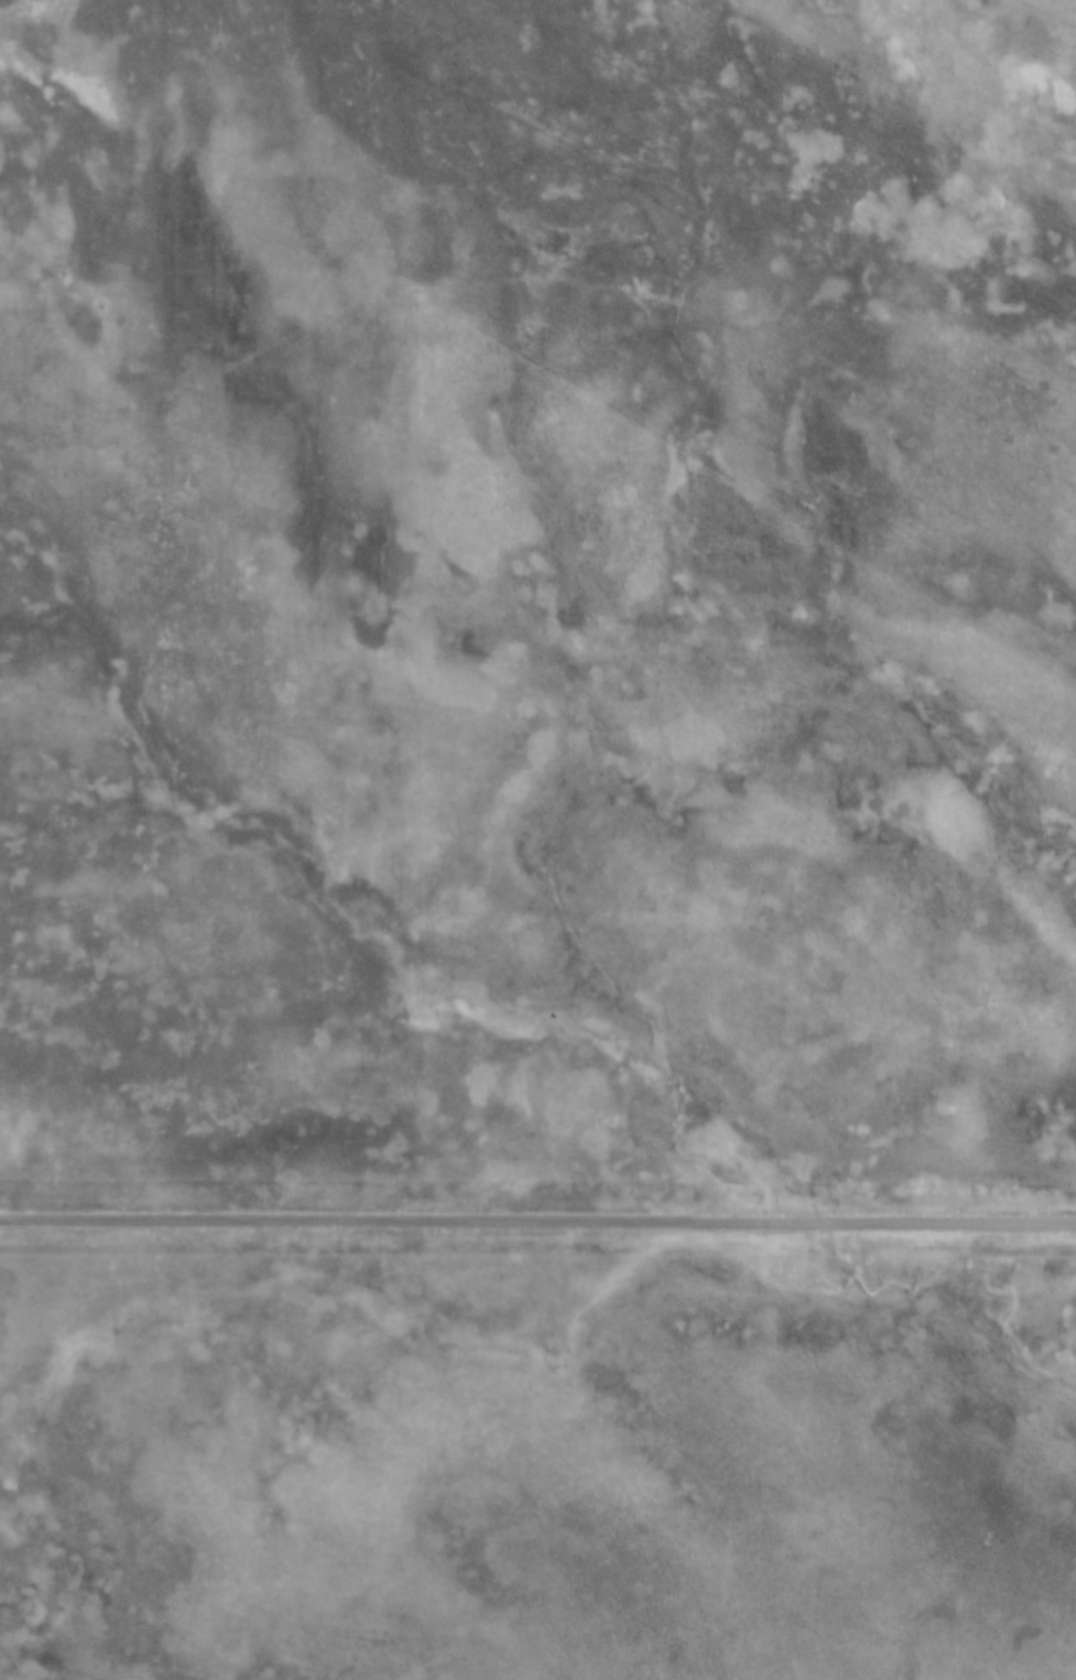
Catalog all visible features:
road: (537, 1216)

